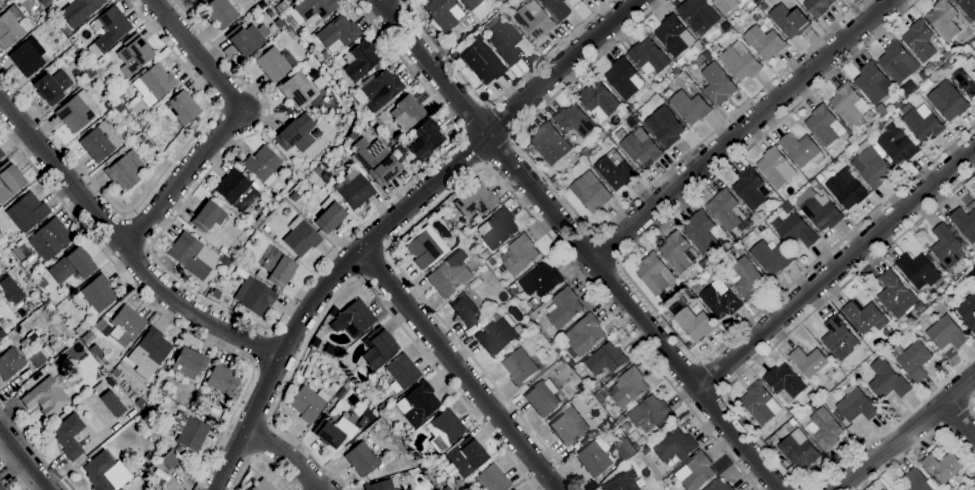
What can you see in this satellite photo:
building: (198, 0)
building: (200, 0)
building: (288, 0)
building: (586, 0)
building: (496, 1)
building: (759, 1)
building: (470, 3)
building: (726, 5)
building: (747, 6)
building: (763, 7)
building: (818, 7)
building: (967, 8)
building: (311, 9)
building: (558, 9)
building: (79, 10)
building: (269, 12)
building: (220, 13)
building: (443, 13)
building: (699, 16)
building: (245, 18)
building: (42, 19)
building: (756, 19)
building: (944, 20)
building: (288, 21)
building: (535, 21)
building: (790, 21)
building: (279, 23)
building: (12, 26)
building: (111, 27)
building: (726, 28)
building: (67, 29)
building: (337, 33)
building: (672, 36)
building: (245, 39)
building: (505, 41)
building: (920, 41)
building: (765, 43)
building: (699, 47)
building: (954, 47)
building: (134, 54)
building: (948, 54)
building: (80, 57)
building: (649, 57)
building: (26, 58)
building: (91, 60)
building: (359, 60)
building: (482, 62)
building: (898, 62)
building: (271, 63)
building: (681, 63)
building: (740, 64)
building: (930, 67)
building: (676, 70)
building: (923, 75)
building: (962, 78)
building: (624, 79)
building: (154, 83)
building: (718, 84)
building: (873, 84)
building: (52, 86)
building: (297, 89)
building: (378, 91)
road: (497, 94)
building: (121, 100)
building: (599, 101)
building: (948, 101)
building: (108, 105)
building: (849, 106)
building: (118, 107)
building: (127, 107)
building: (690, 107)
building: (181, 108)
building: (631, 108)
building: (75, 111)
building: (896, 111)
building: (407, 113)
building: (359, 117)
road: (474, 118)
building: (876, 118)
road: (501, 119)
building: (574, 121)
building: (142, 122)
road: (227, 123)
building: (923, 124)
building: (823, 126)
building: (667, 127)
road: (742, 129)
building: (293, 131)
building: (870, 133)
building: (352, 135)
building: (142, 138)
building: (426, 139)
building: (897, 143)
building: (97, 144)
building: (550, 144)
building: (149, 146)
road: (473, 149)
road: (500, 150)
building: (640, 150)
building: (801, 150)
building: (584, 152)
building: (1, 153)
building: (588, 156)
building: (375, 160)
building: (262, 164)
building: (871, 165)
building: (319, 168)
building: (774, 168)
building: (289, 169)
road: (478, 169)
building: (126, 170)
building: (615, 171)
building: (553, 179)
building: (820, 179)
building: (9, 180)
road: (155, 184)
building: (555, 184)
building: (233, 186)
building: (353, 188)
building: (750, 189)
building: (847, 190)
building: (591, 193)
building: (476, 199)
building: (272, 204)
building: (788, 208)
building: (771, 210)
building: (27, 212)
building: (728, 213)
building: (821, 214)
building: (329, 215)
building: (208, 216)
road: (394, 220)
building: (964, 224)
road: (607, 225)
building: (265, 228)
building: (498, 229)
road: (137, 230)
building: (796, 231)
building: (701, 232)
building: (300, 237)
building: (50, 239)
road: (580, 244)
road: (123, 247)
road: (607, 247)
building: (944, 247)
building: (423, 249)
building: (223, 250)
building: (678, 253)
building: (18, 254)
building: (189, 255)
building: (486, 255)
building: (519, 255)
building: (770, 258)
road: (372, 261)
building: (80, 262)
building: (492, 262)
building: (704, 265)
building: (277, 266)
road: (835, 267)
building: (918, 271)
building: (654, 274)
building: (450, 275)
road: (358, 277)
building: (746, 279)
road: (848, 279)
building: (974, 279)
building: (541, 280)
building: (42, 283)
building: (697, 288)
building: (11, 290)
building: (99, 292)
building: (513, 292)
building: (215, 293)
building: (895, 294)
building: (255, 296)
road: (645, 300)
building: (720, 300)
building: (564, 308)
building: (465, 309)
building: (674, 309)
road: (159, 310)
building: (968, 312)
building: (666, 315)
building: (864, 318)
building: (353, 319)
road: (254, 324)
building: (694, 324)
building: (126, 325)
building: (103, 327)
building: (80, 330)
building: (1, 334)
building: (535, 334)
building: (947, 334)
building: (499, 335)
building: (584, 335)
building: (838, 336)
building: (88, 337)
building: (551, 338)
building: (378, 347)
building: (47, 349)
road: (262, 349)
building: (96, 350)
building: (149, 352)
building: (37, 358)
building: (606, 359)
building: (913, 360)
building: (189, 362)
building: (10, 363)
building: (810, 363)
building: (519, 367)
road: (460, 369)
building: (402, 372)
road: (710, 374)
building: (341, 377)
building: (223, 379)
building: (299, 379)
building: (887, 381)
building: (785, 383)
building: (590, 384)
building: (628, 388)
road: (960, 388)
building: (811, 396)
building: (46, 397)
building: (543, 398)
building: (308, 402)
building: (140, 403)
building: (418, 403)
building: (760, 404)
building: (856, 405)
road: (970, 406)
building: (649, 414)
road: (960, 419)
building: (567, 425)
building: (444, 429)
building: (826, 429)
building: (189, 431)
building: (334, 431)
building: (402, 433)
building: (69, 436)
building: (774, 438)
building: (584, 442)
road: (917, 442)
road: (889, 445)
building: (676, 446)
road: (34, 448)
building: (624, 448)
building: (98, 449)
building: (799, 450)
road: (287, 454)
building: (362, 456)
building: (466, 456)
building: (594, 456)
road: (25, 458)
building: (169, 459)
road: (261, 460)
road: (839, 463)
building: (943, 468)
road: (15, 470)
building: (106, 472)
building: (695, 472)
building: (492, 479)
building: (917, 481)
building: (622, 482)
building: (380, 485)
building: (262, 486)
building: (719, 486)
building: (1, 487)
building: (122, 489)
building: (513, 489)
road: (804, 489)
road: (805, 489)

